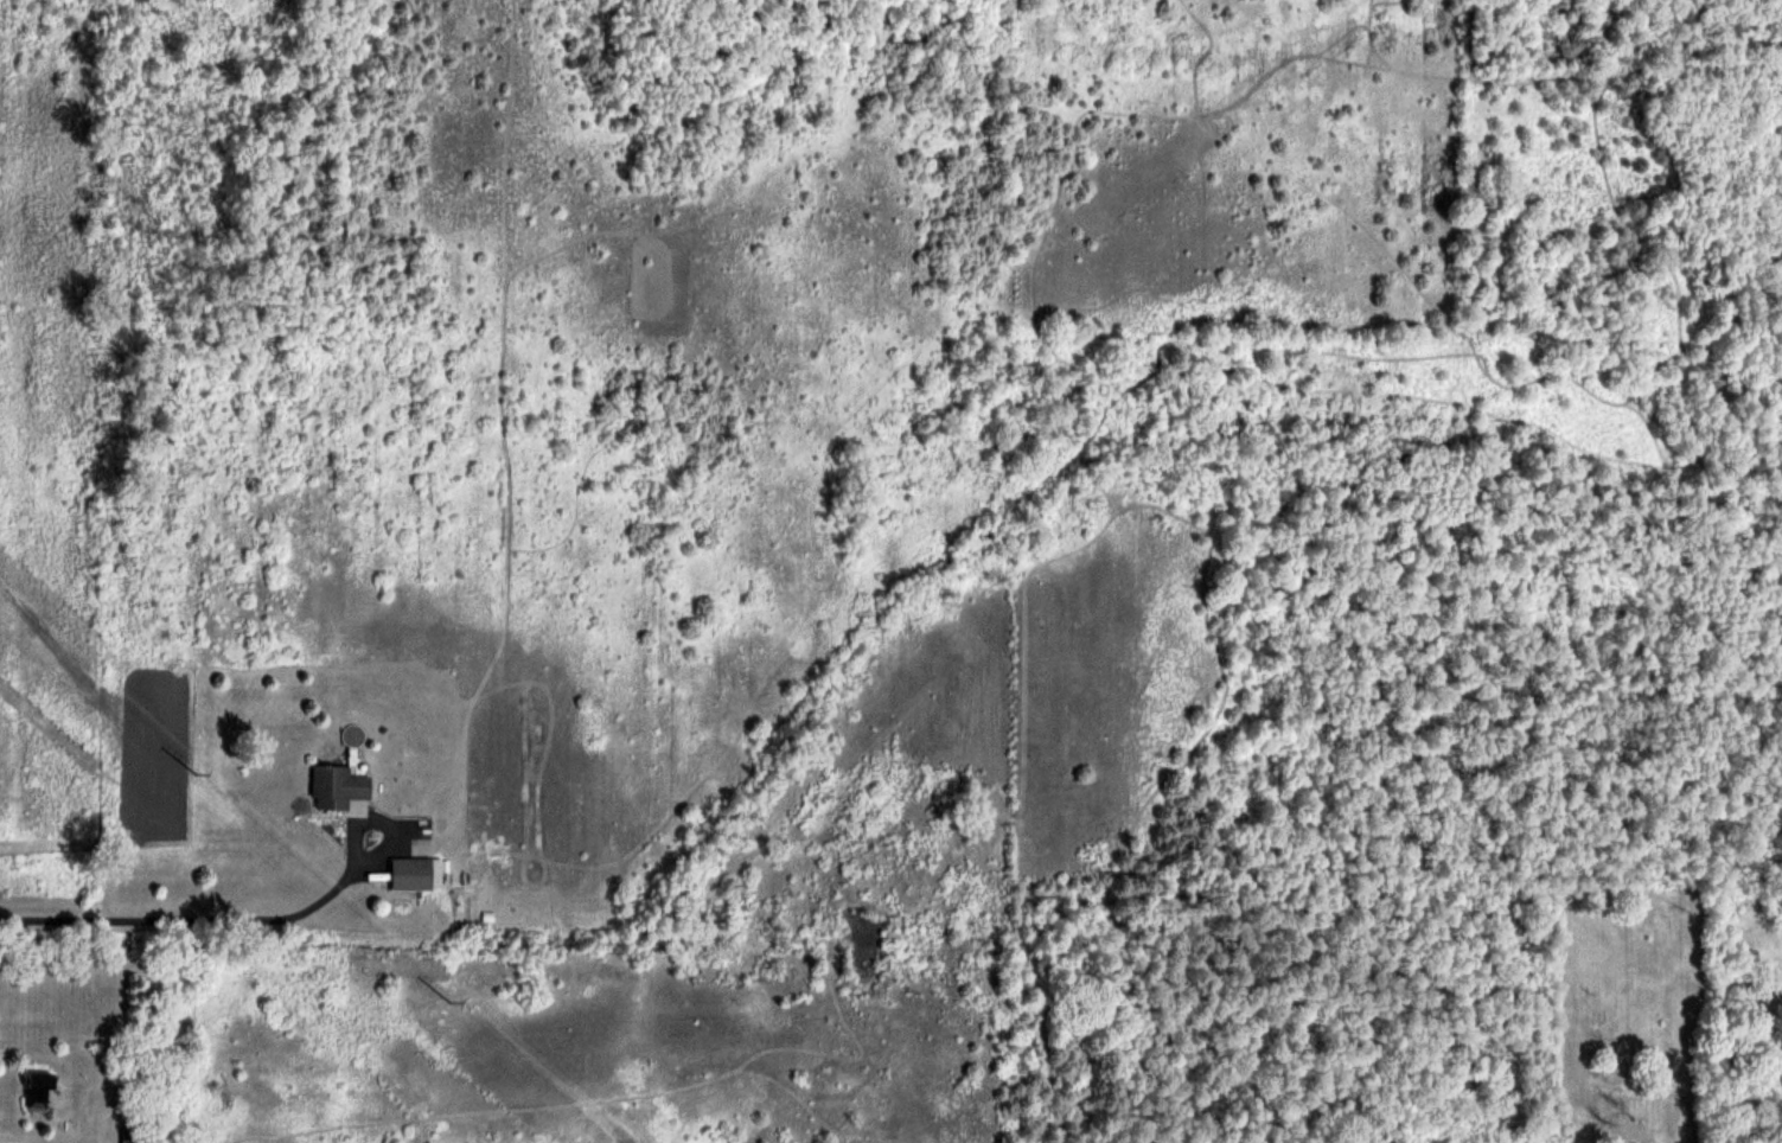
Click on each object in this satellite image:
power tower: (205, 773)
building: (337, 785)
building: (411, 871)
power tower: (453, 1000)
building: (40, 1087)
building: (128, 1135)
road: (12, 1142)

